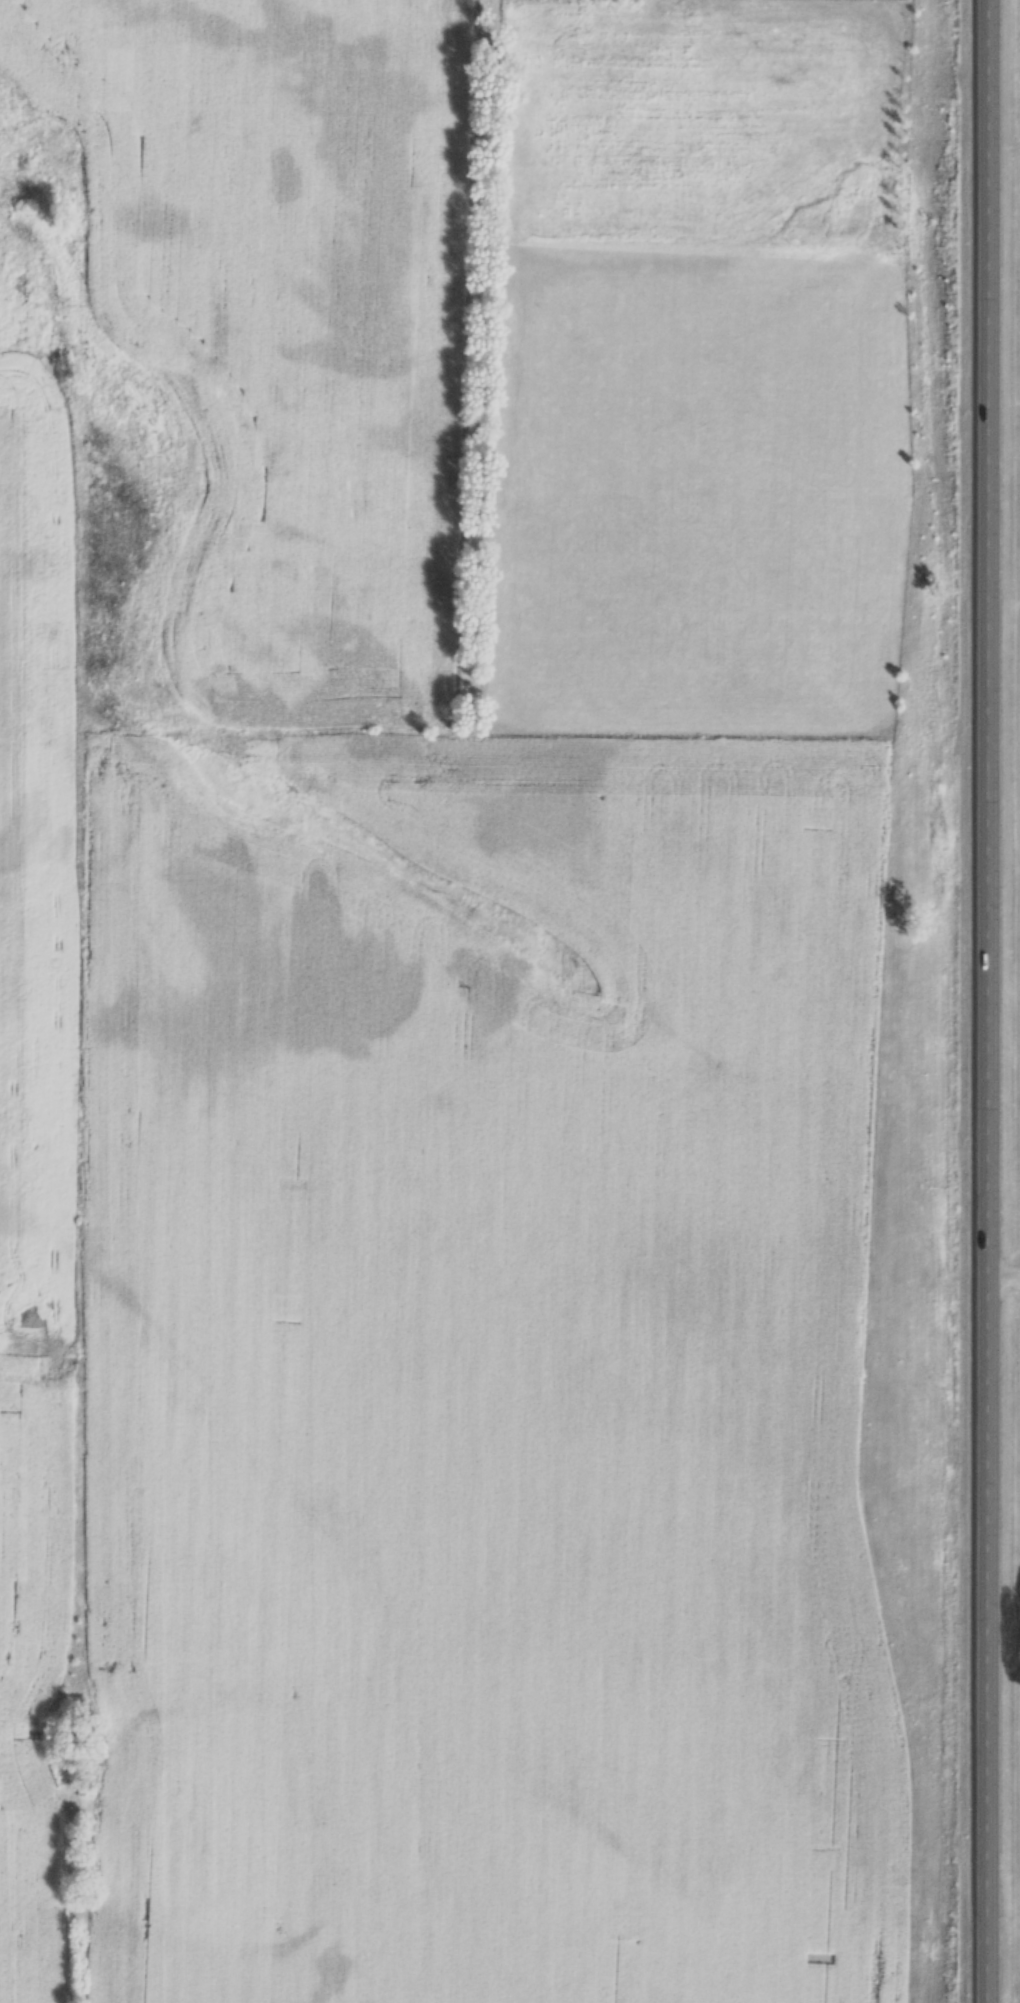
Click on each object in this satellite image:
road: (978, 1001)
road: (999, 1272)

